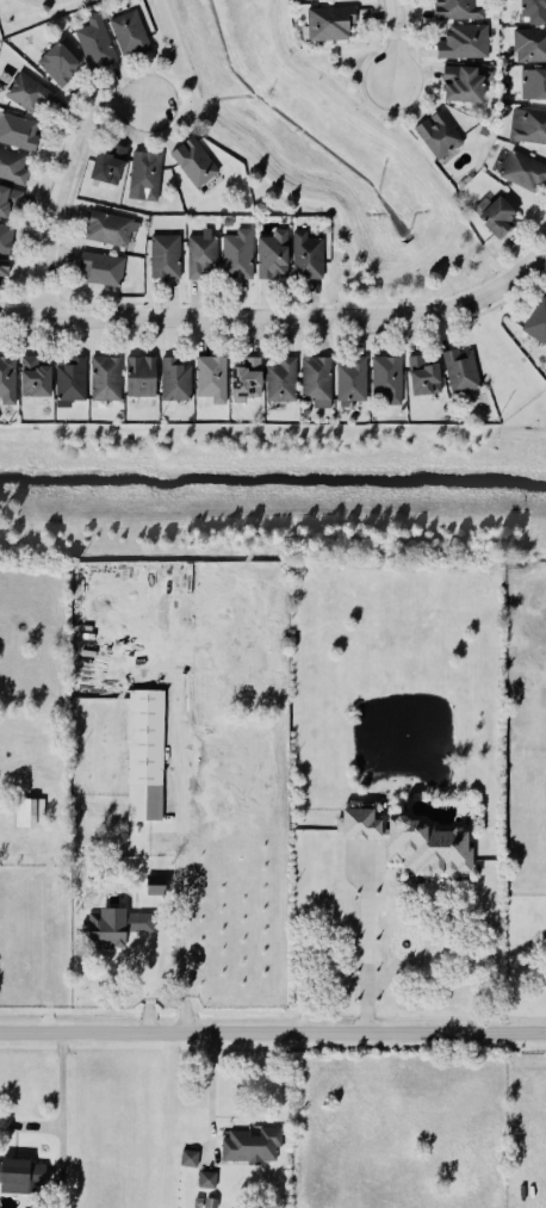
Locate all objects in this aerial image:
building: (321, 0)
road: (42, 5)
building: (459, 11)
building: (534, 11)
building: (331, 24)
building: (130, 36)
road: (392, 41)
building: (465, 43)
building: (97, 44)
building: (531, 47)
building: (60, 64)
road: (163, 74)
road: (144, 79)
building: (464, 85)
building: (534, 85)
building: (30, 94)
road: (372, 97)
road: (176, 117)
building: (529, 126)
road: (159, 128)
building: (18, 132)
building: (439, 136)
building: (196, 163)
building: (110, 166)
building: (13, 168)
building: (525, 173)
building: (147, 175)
road: (58, 184)
building: (10, 202)
building: (497, 216)
building: (111, 230)
building: (6, 240)
building: (201, 254)
building: (238, 256)
building: (274, 256)
building: (166, 258)
building: (308, 258)
building: (5, 268)
building: (103, 270)
road: (393, 278)
road: (446, 283)
road: (281, 318)
building: (538, 323)
building: (463, 371)
building: (142, 377)
building: (424, 377)
building: (36, 378)
building: (106, 379)
building: (176, 380)
building: (210, 380)
building: (386, 380)
building: (248, 382)
building: (283, 382)
building: (352, 382)
building: (6, 383)
building: (315, 383)
building: (69, 384)
building: (325, 596)
building: (144, 757)
building: (27, 814)
building: (411, 843)
building: (156, 886)
road: (182, 897)
building: (116, 929)
road: (367, 930)
road: (151, 984)
road: (367, 1011)
road: (272, 1033)
road: (212, 1096)
road: (69, 1113)
road: (33, 1126)
building: (250, 1148)
building: (190, 1160)
building: (20, 1178)
building: (209, 1181)
building: (211, 1203)

